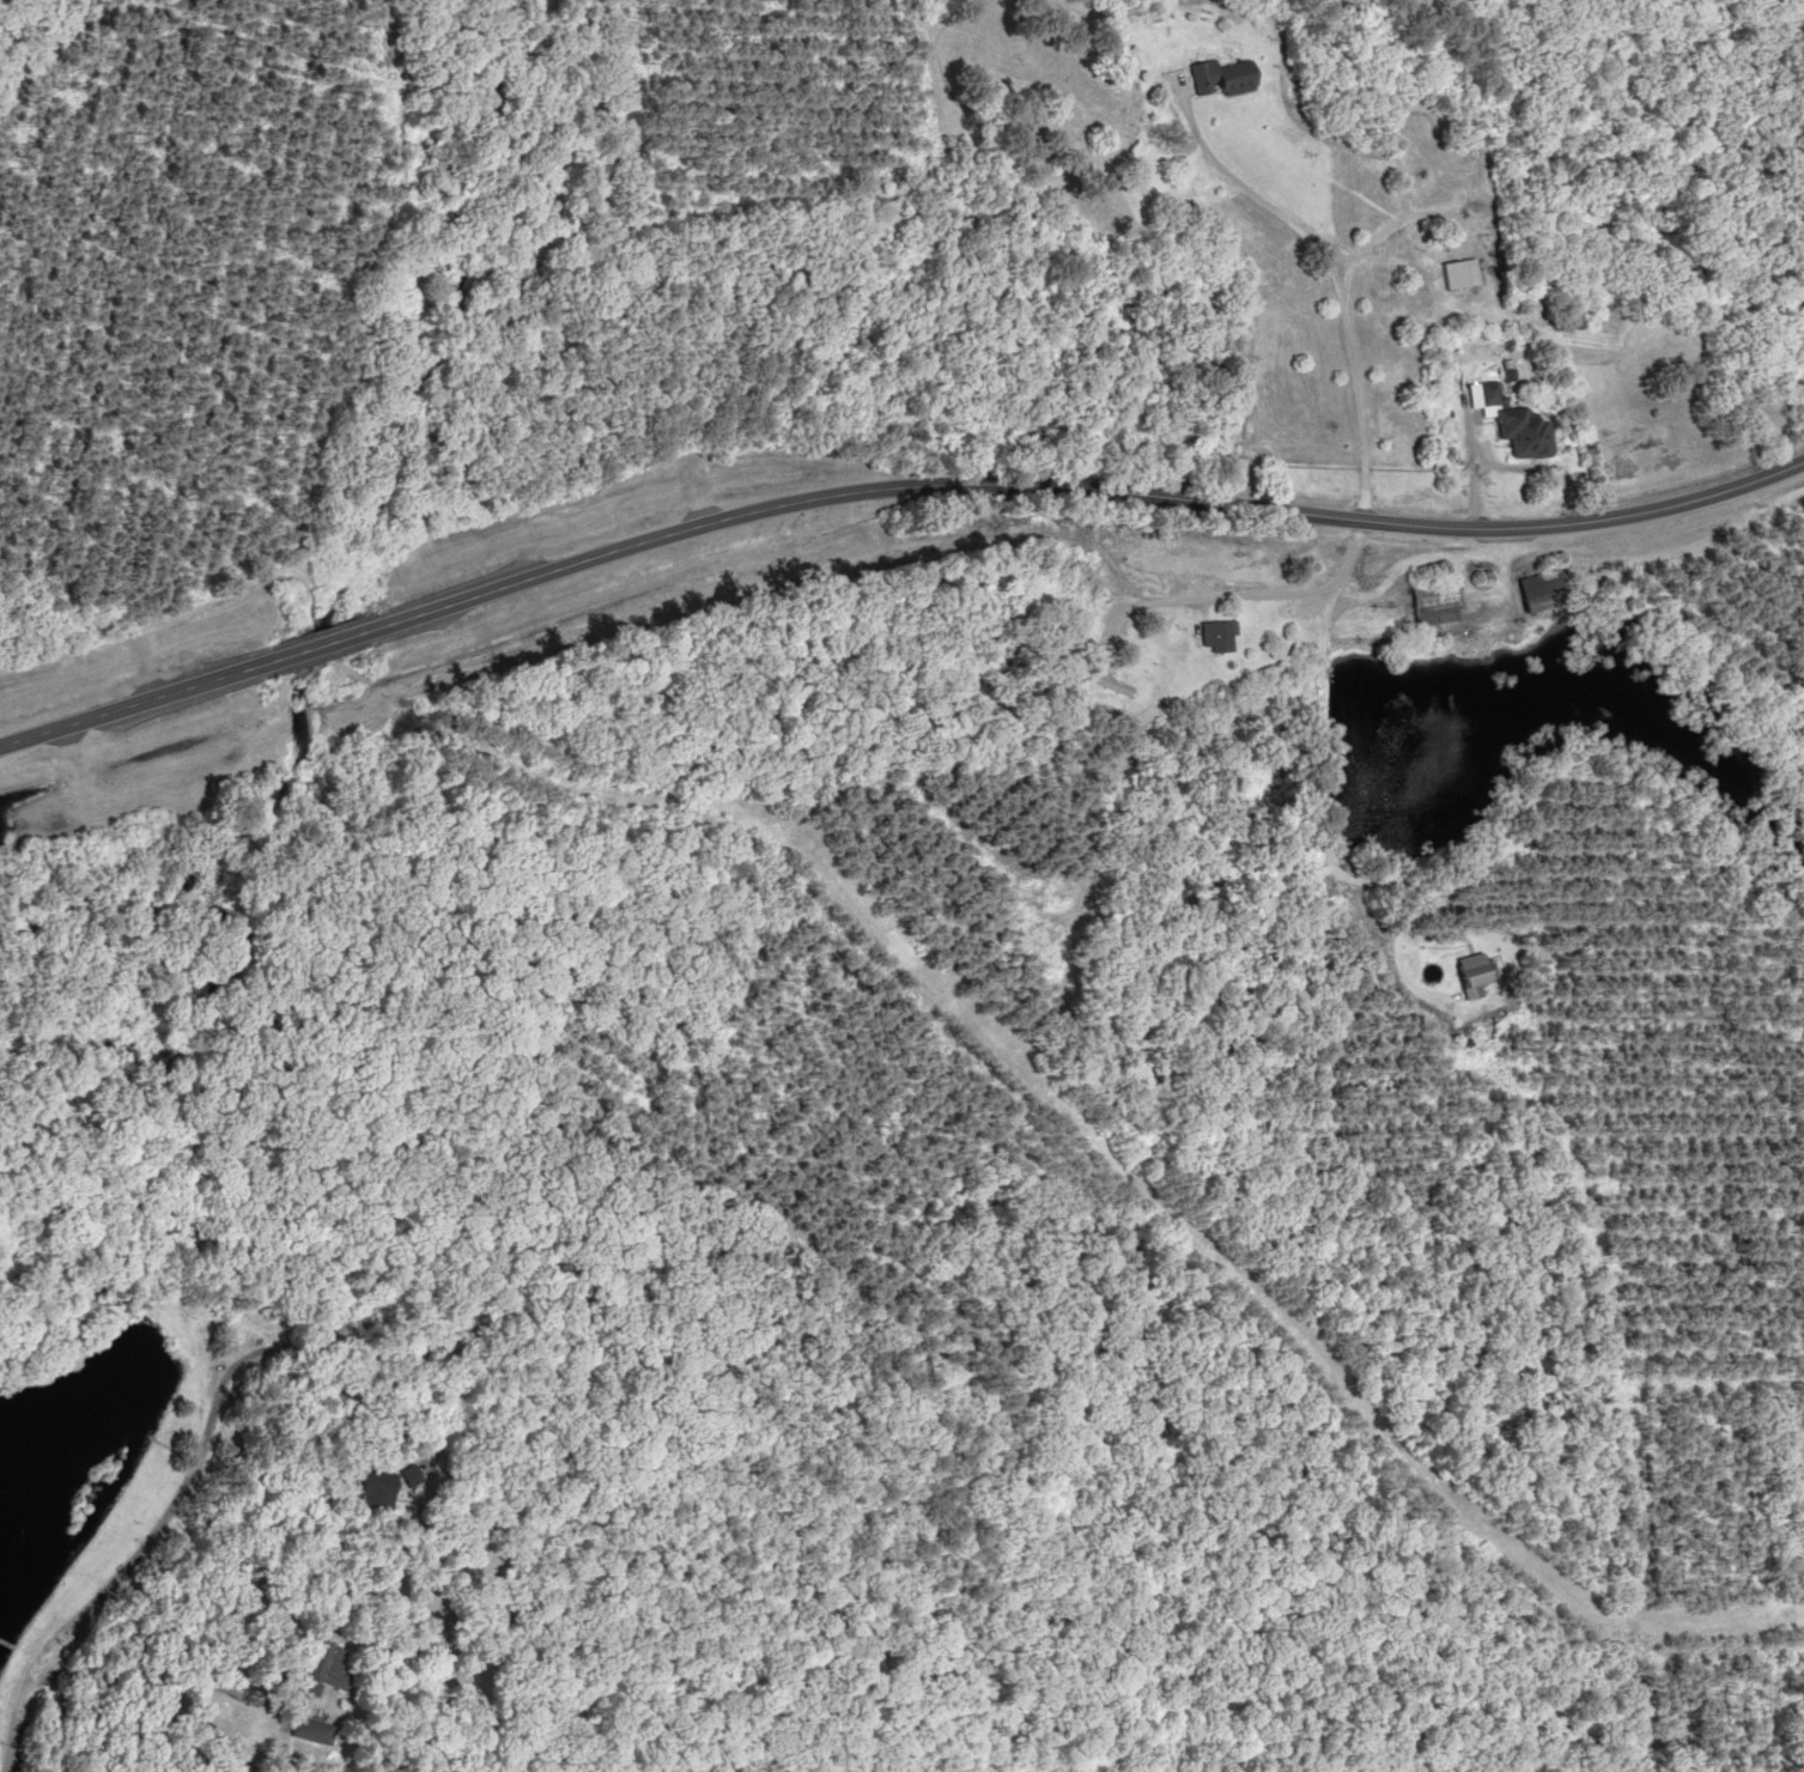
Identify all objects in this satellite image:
building: (1219, 77)
building: (1486, 393)
building: (1519, 432)
road: (888, 485)
building: (1535, 588)
road: (1318, 601)
building: (1427, 606)
building: (1209, 633)
building: (1101, 681)
building: (1468, 971)
building: (402, 1474)
building: (369, 1489)
building: (318, 1663)
building: (306, 1729)

